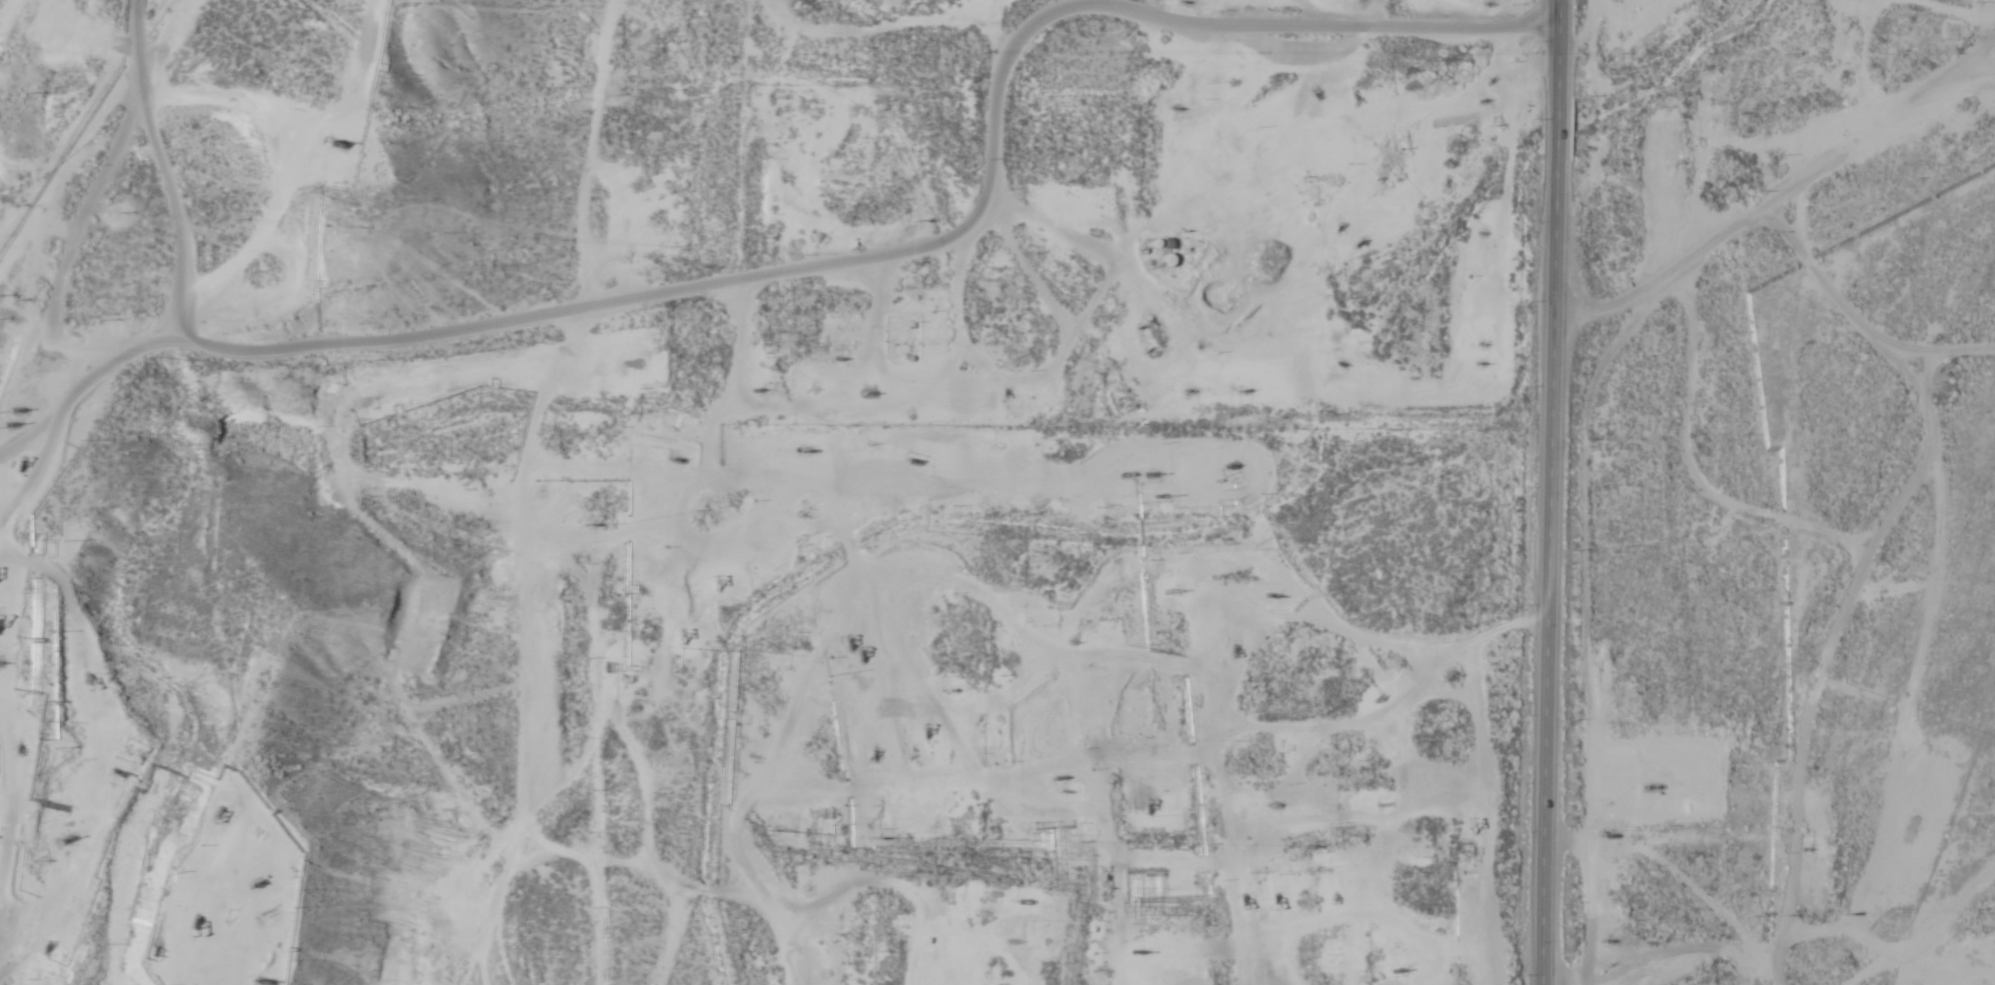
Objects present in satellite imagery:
road: (806, 278)
road: (1562, 492)

